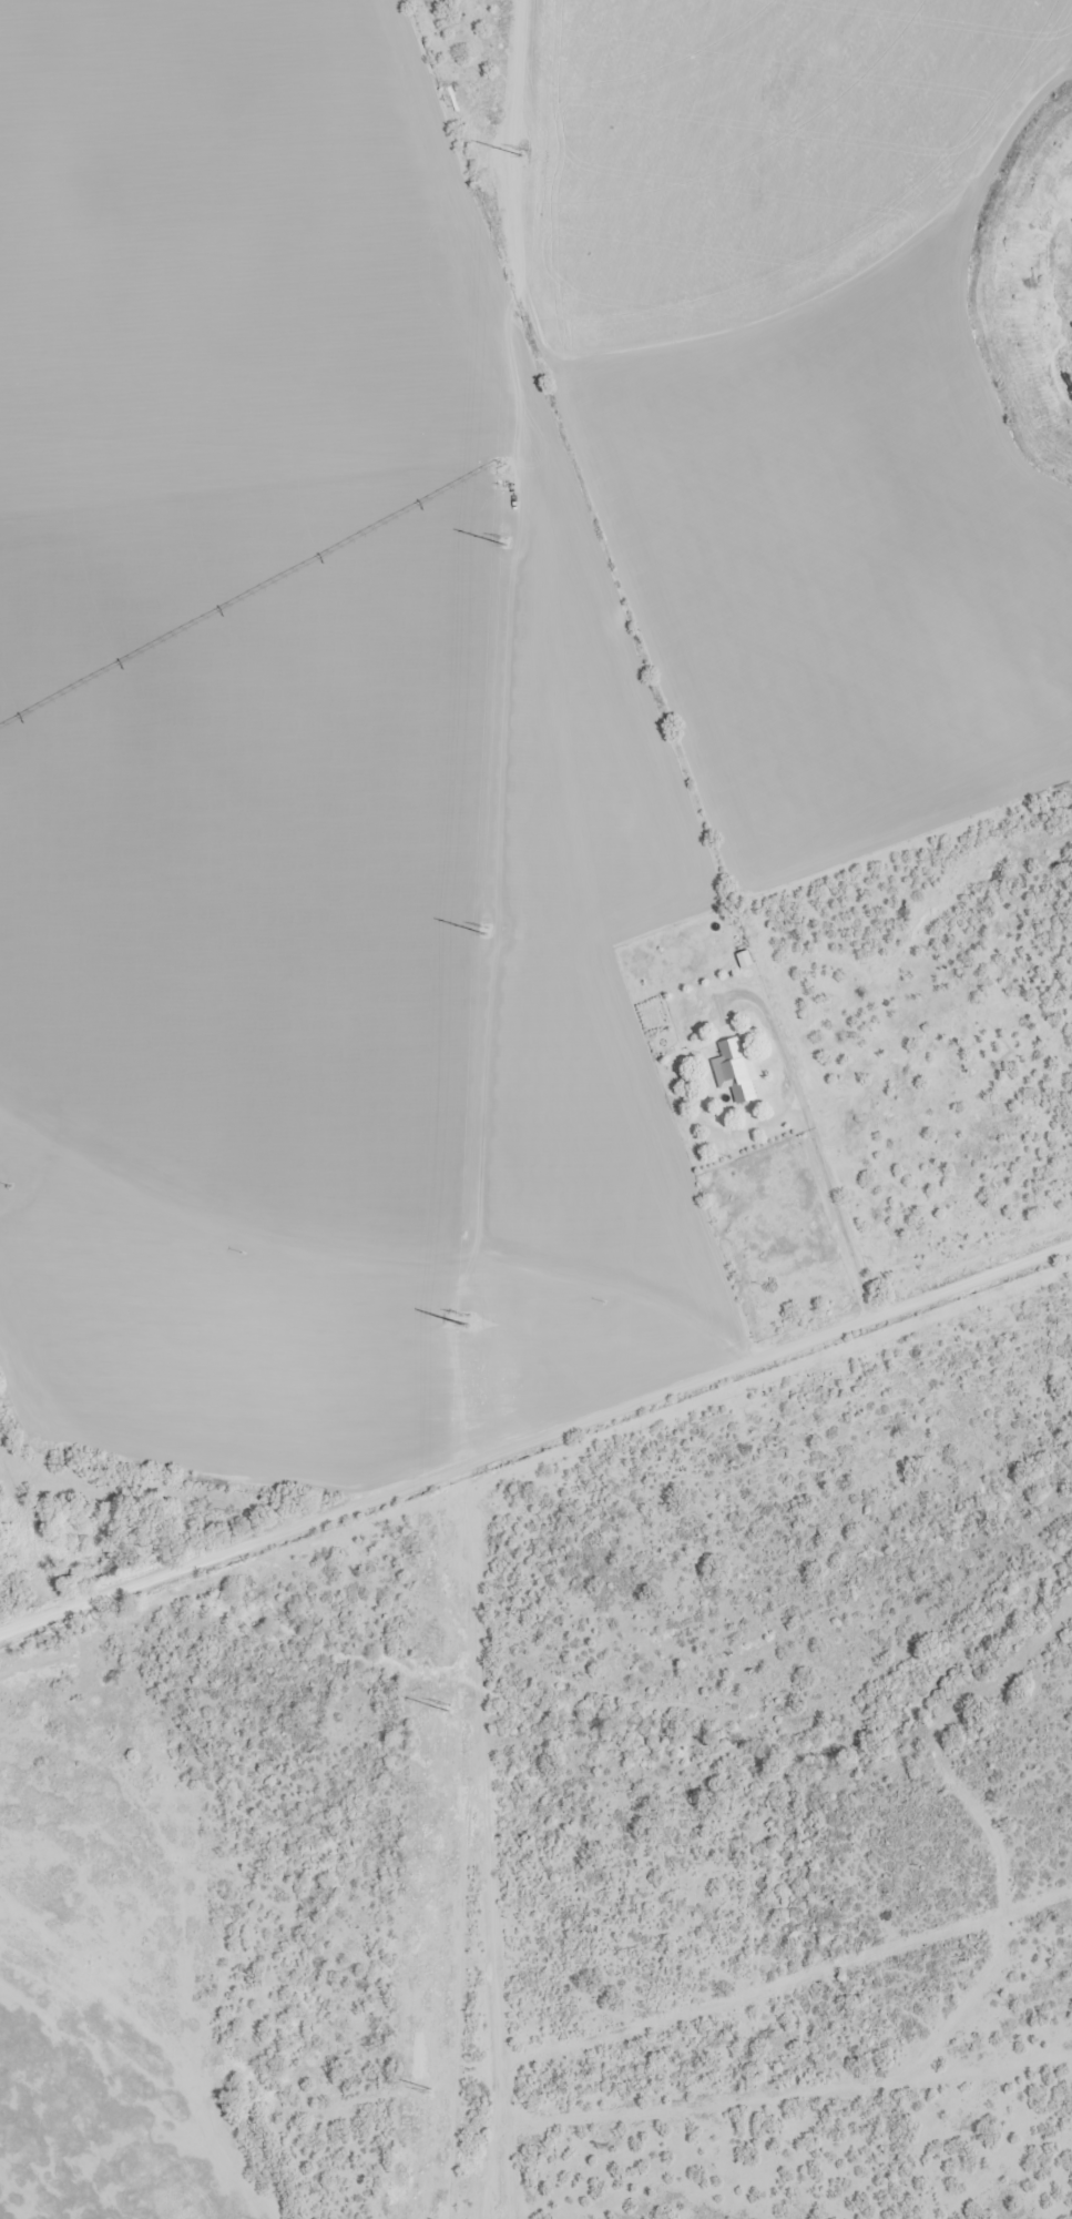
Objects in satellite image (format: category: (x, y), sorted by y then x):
power tower: (521, 149)
power tower: (501, 539)
power tower: (483, 928)
building: (736, 1070)
power tower: (466, 1315)
road: (534, 1437)
power tower: (447, 1704)
power tower: (429, 2094)

